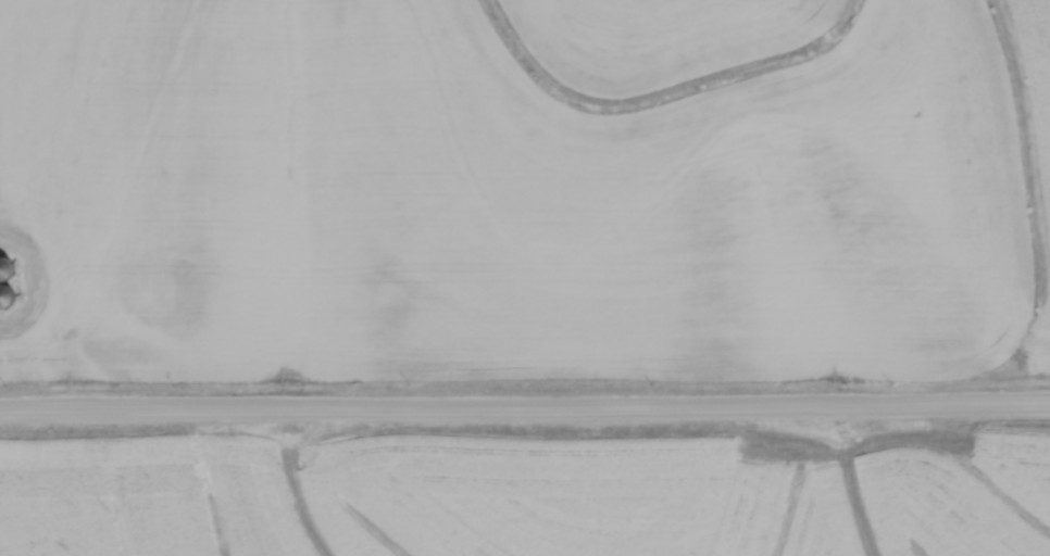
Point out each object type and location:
building: (10, 296)
road: (525, 410)

